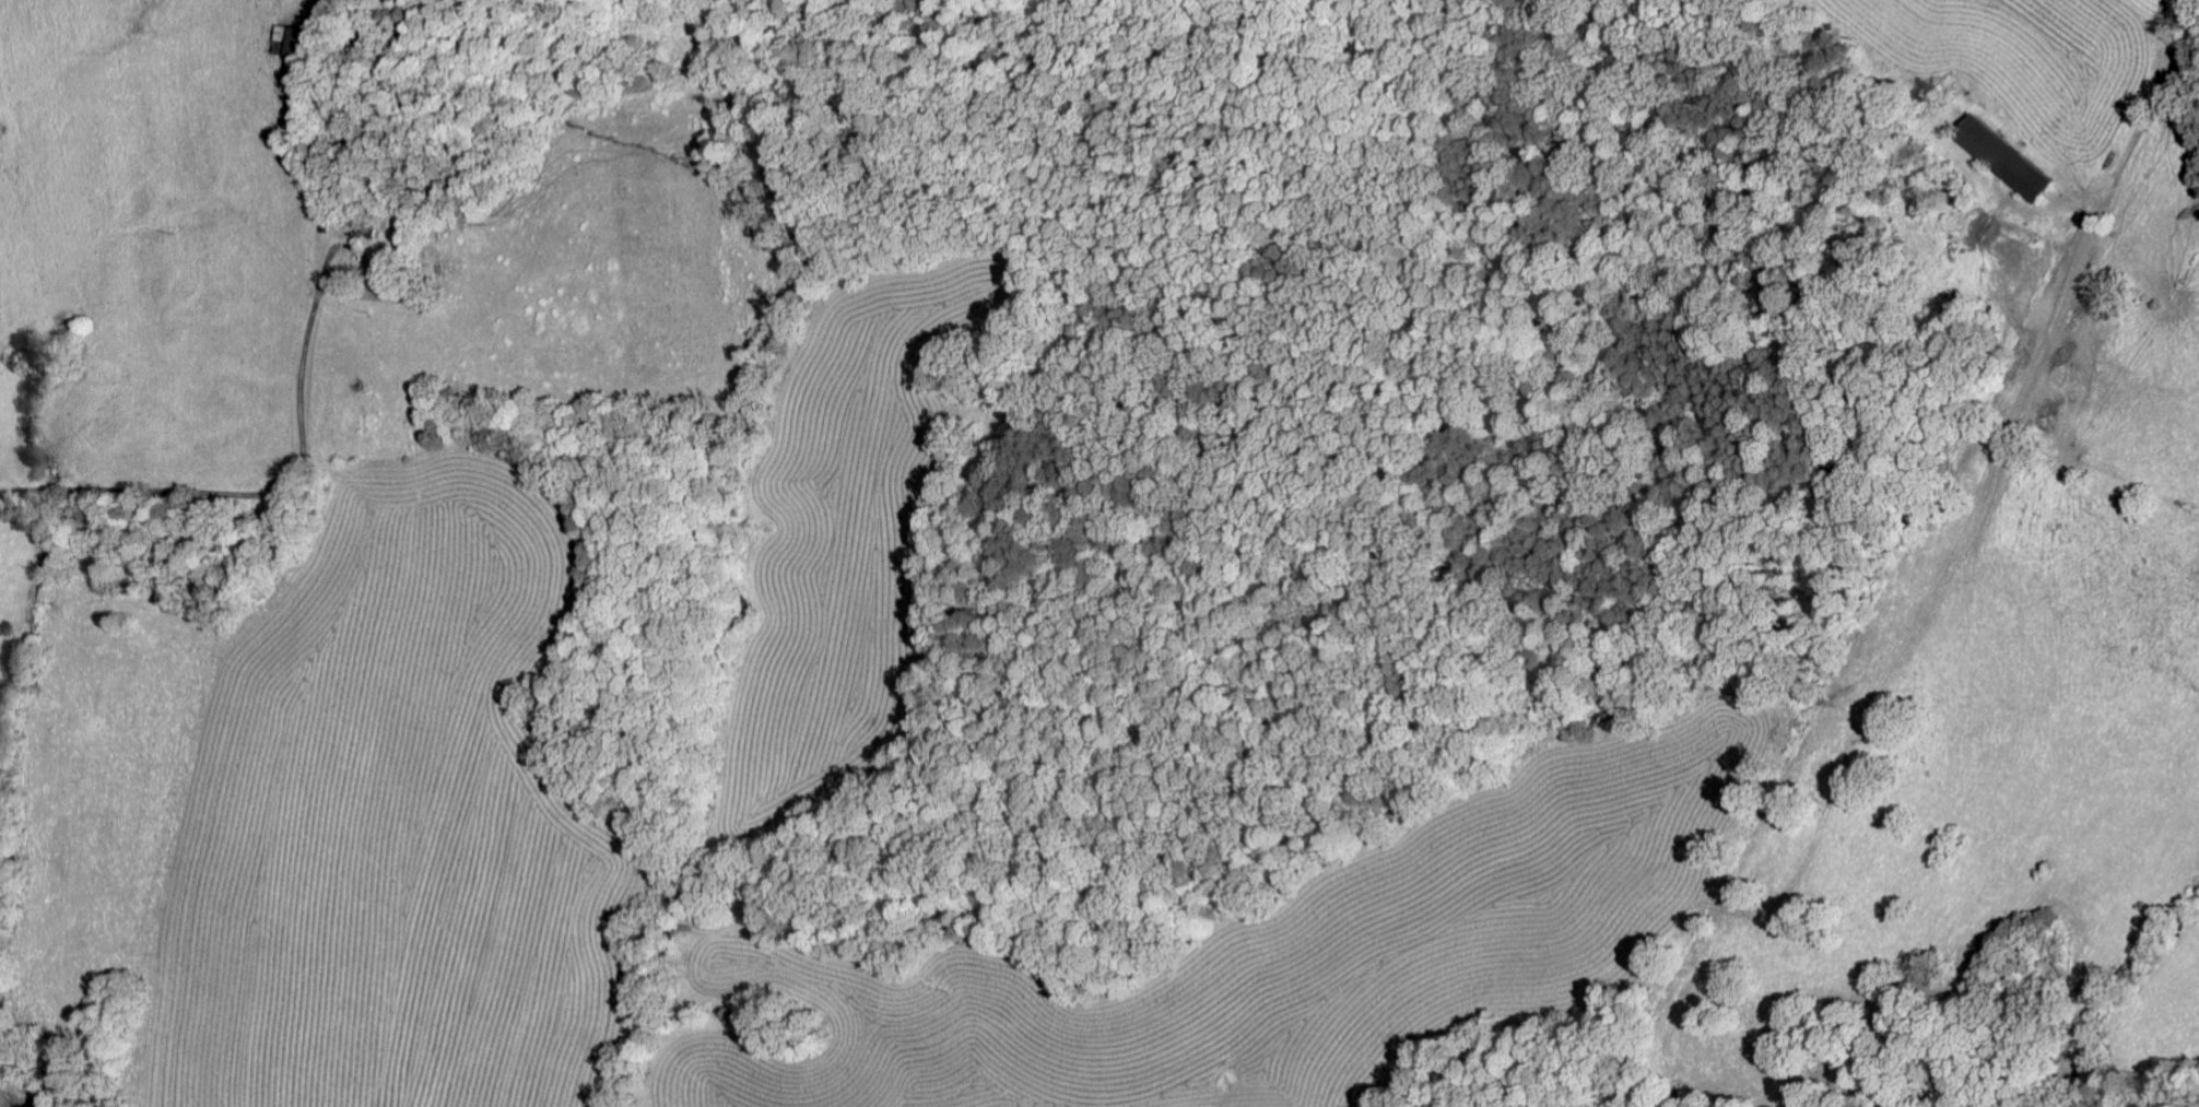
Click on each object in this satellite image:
building: (375, 268)
road: (279, 452)

